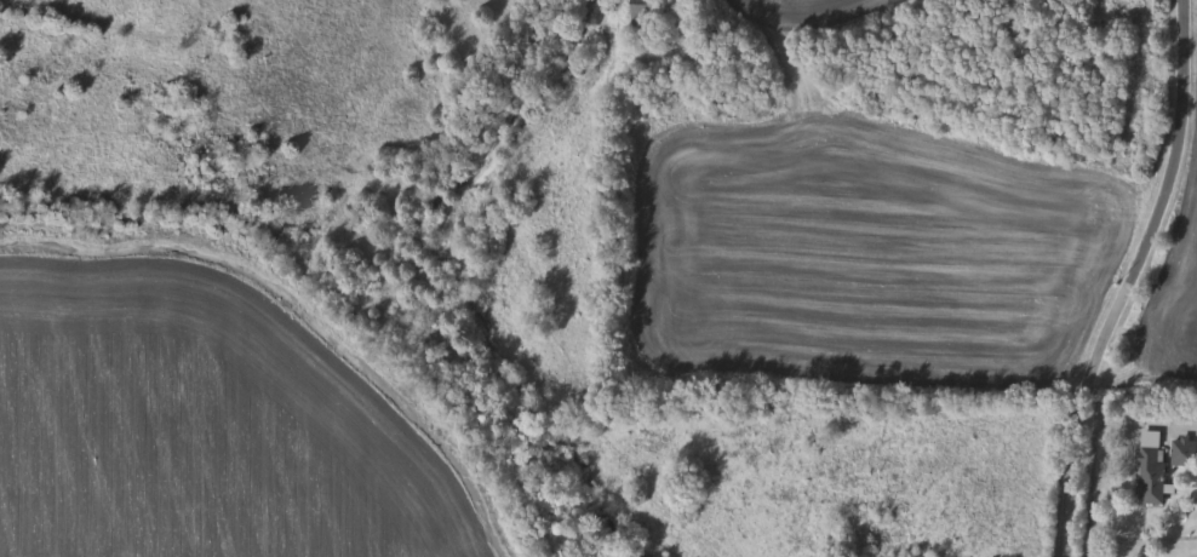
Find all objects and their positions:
building: (646, 12)
road: (422, 276)
road: (1134, 280)
road: (1139, 420)
building: (1153, 476)

